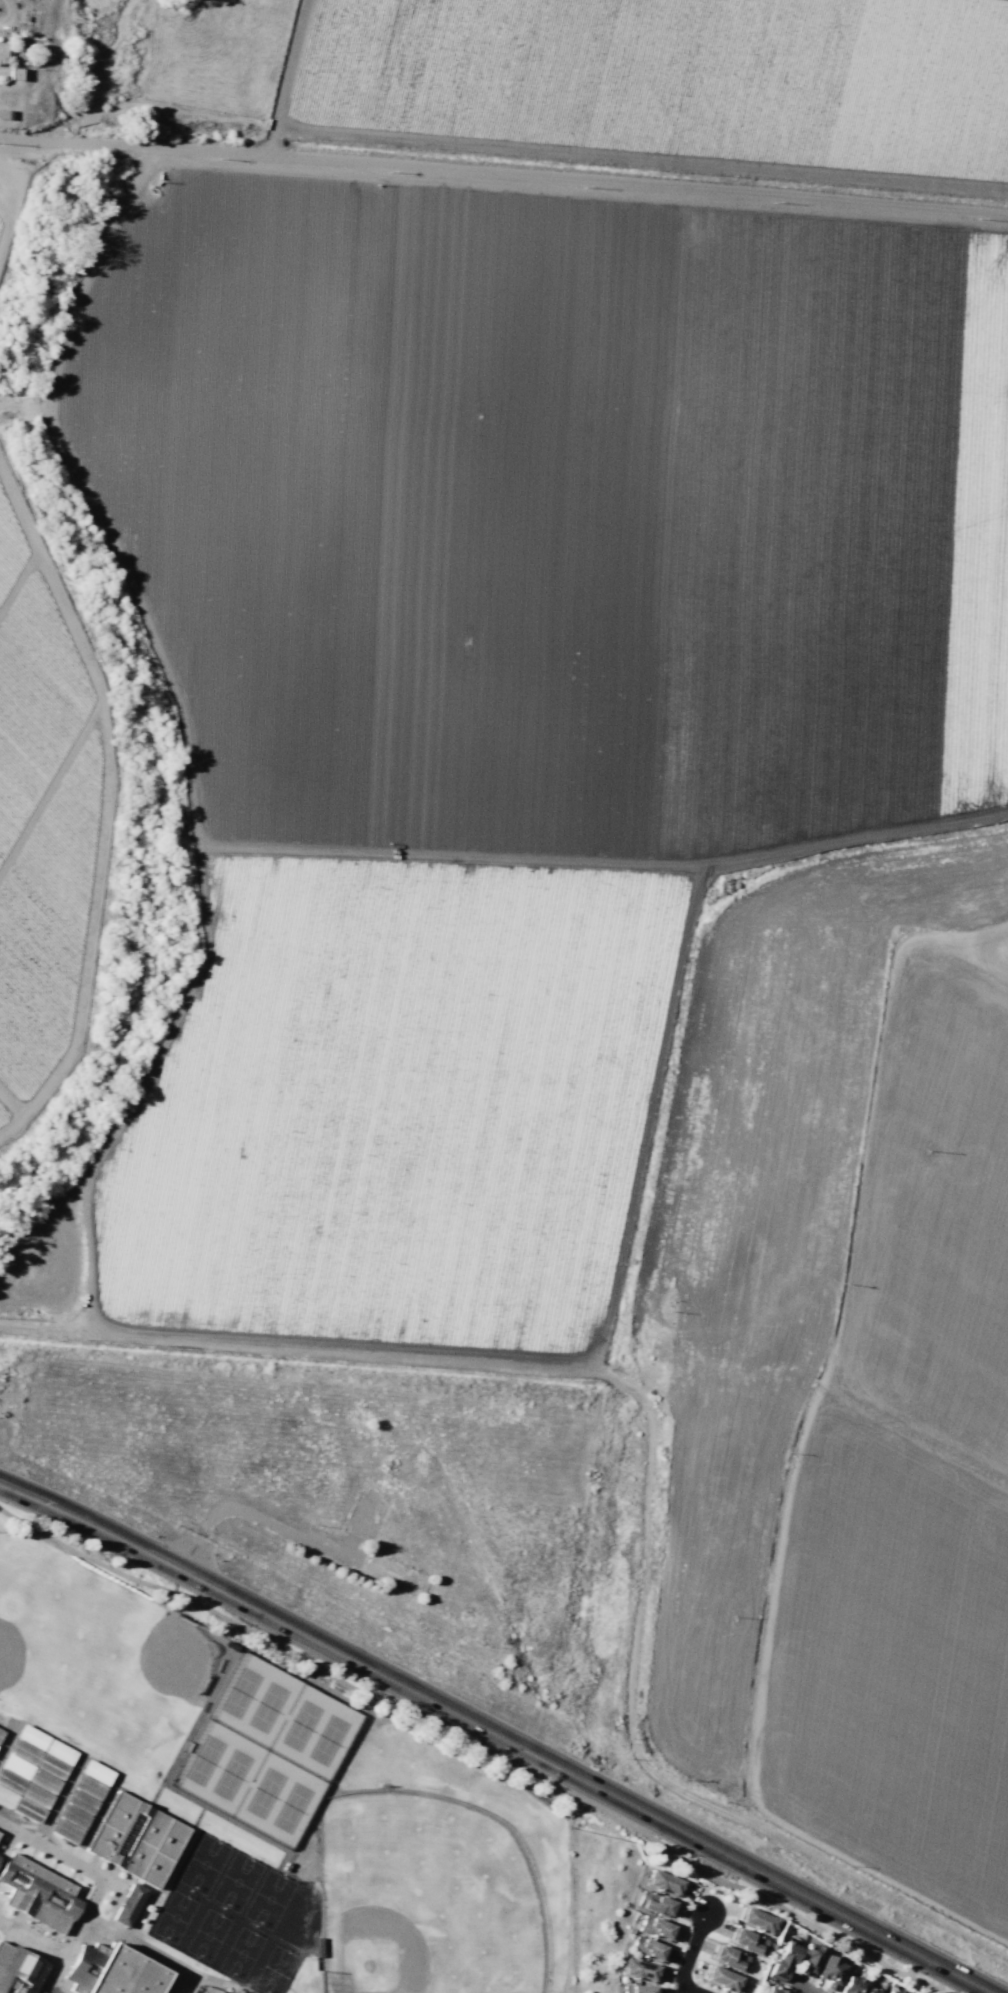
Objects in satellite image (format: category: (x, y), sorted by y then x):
building: (2, 52)
building: (2, 114)
crop: (3, 240)
crop: (526, 606)
crop: (38, 822)
crop: (911, 1485)
park: (102, 1658)
road: (5, 1728)
road: (497, 1733)
building: (1, 1734)
building: (32, 1737)
road: (7, 1738)
road: (474, 1744)
building: (24, 1752)
park: (267, 1752)
building: (60, 1753)
building: (16, 1767)
building: (51, 1767)
building: (98, 1773)
building: (44, 1781)
building: (10, 1782)
building: (89, 1787)
building: (36, 1796)
building: (7, 1798)
road: (59, 1800)
building: (82, 1802)
road: (158, 1809)
building: (28, 1811)
building: (74, 1816)
building: (66, 1831)
road: (254, 1836)
building: (137, 1840)
building: (663, 1883)
road: (163, 1886)
building: (38, 1894)
road: (94, 1898)
park: (425, 1898)
building: (655, 1903)
building: (128, 1904)
park: (238, 1917)
building: (756, 1921)
building: (657, 1928)
building: (784, 1929)
building: (747, 1941)
building: (648, 1949)
road: (146, 1950)
road: (690, 1951)
building: (728, 1958)
building: (809, 1959)
building: (782, 1961)
building: (638, 1970)
building: (829, 1971)
building: (19, 1972)
building: (114, 1972)
building: (720, 1978)
road: (800, 1985)
building: (849, 1985)
building: (639, 1988)
road: (692, 1988)
building: (773, 1990)
building: (869, 1991)
building: (889, 1991)
road: (808, 1992)
building: (895, 1992)

